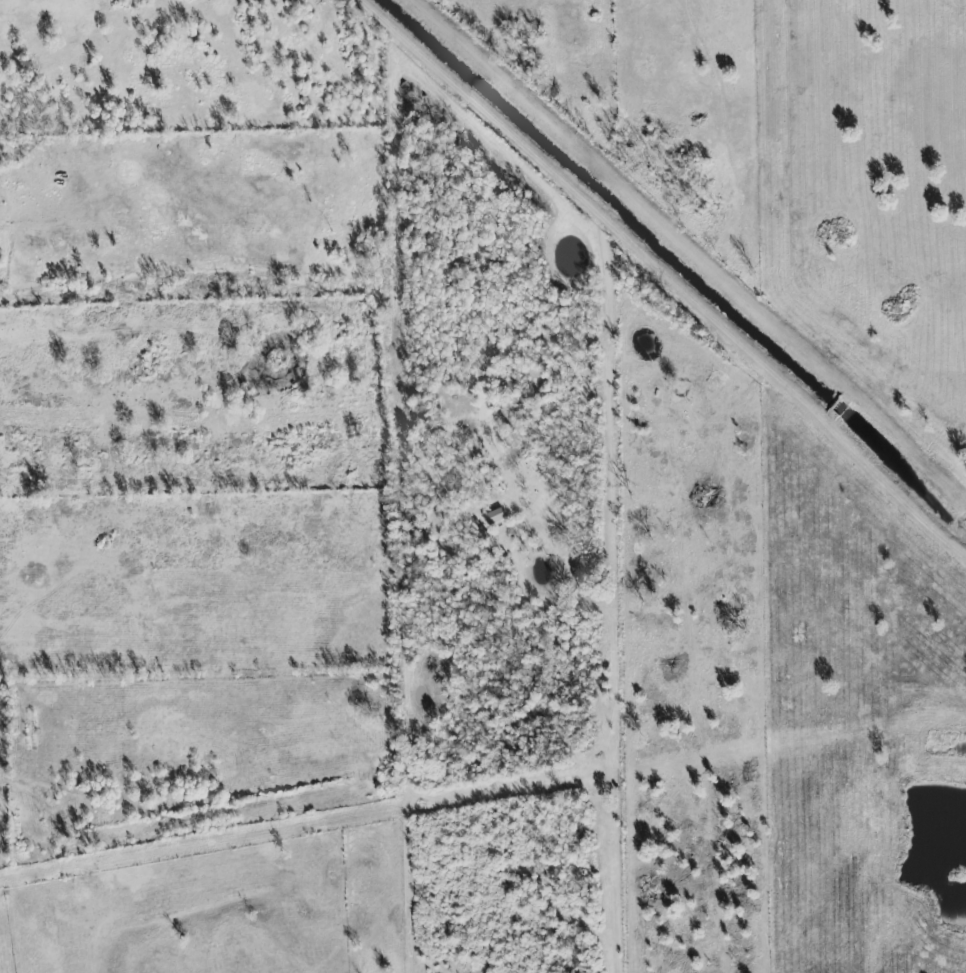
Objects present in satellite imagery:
road: (692, 247)
road: (666, 275)

